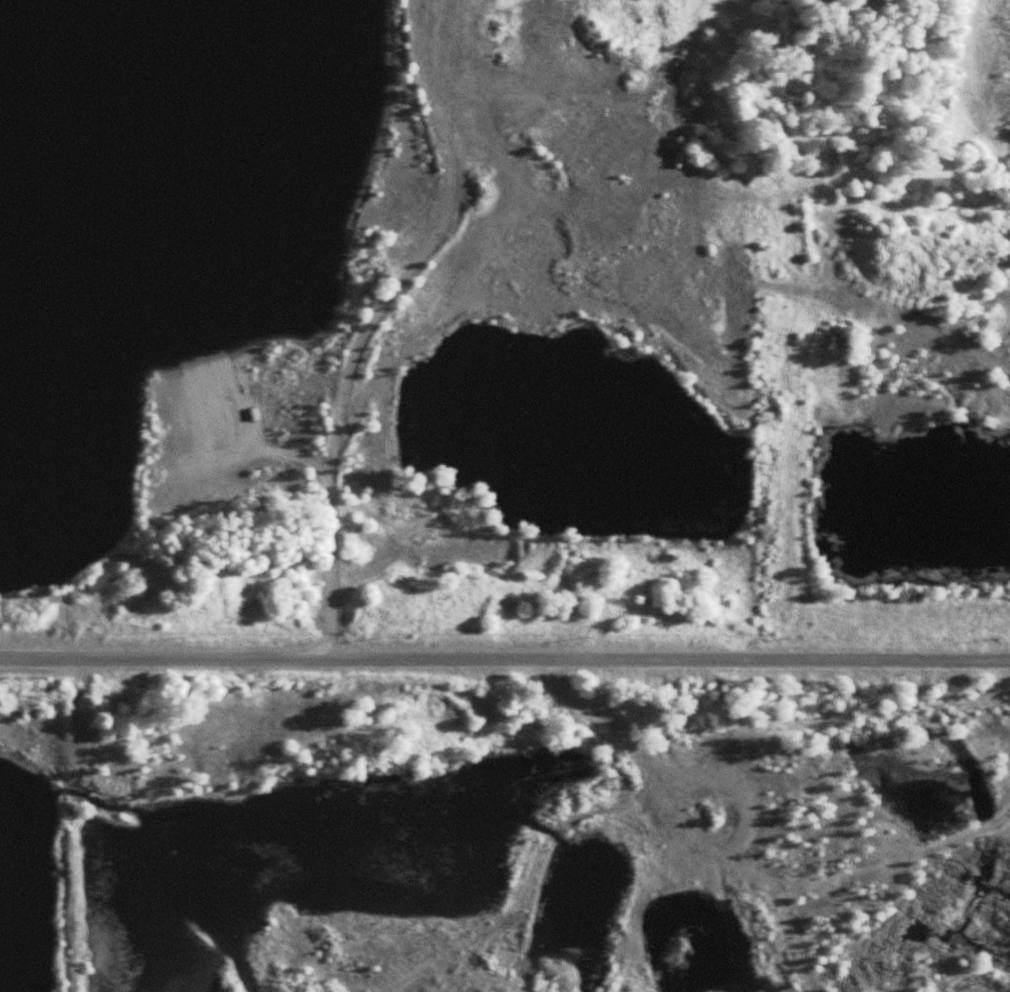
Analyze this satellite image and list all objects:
road: (505, 664)

